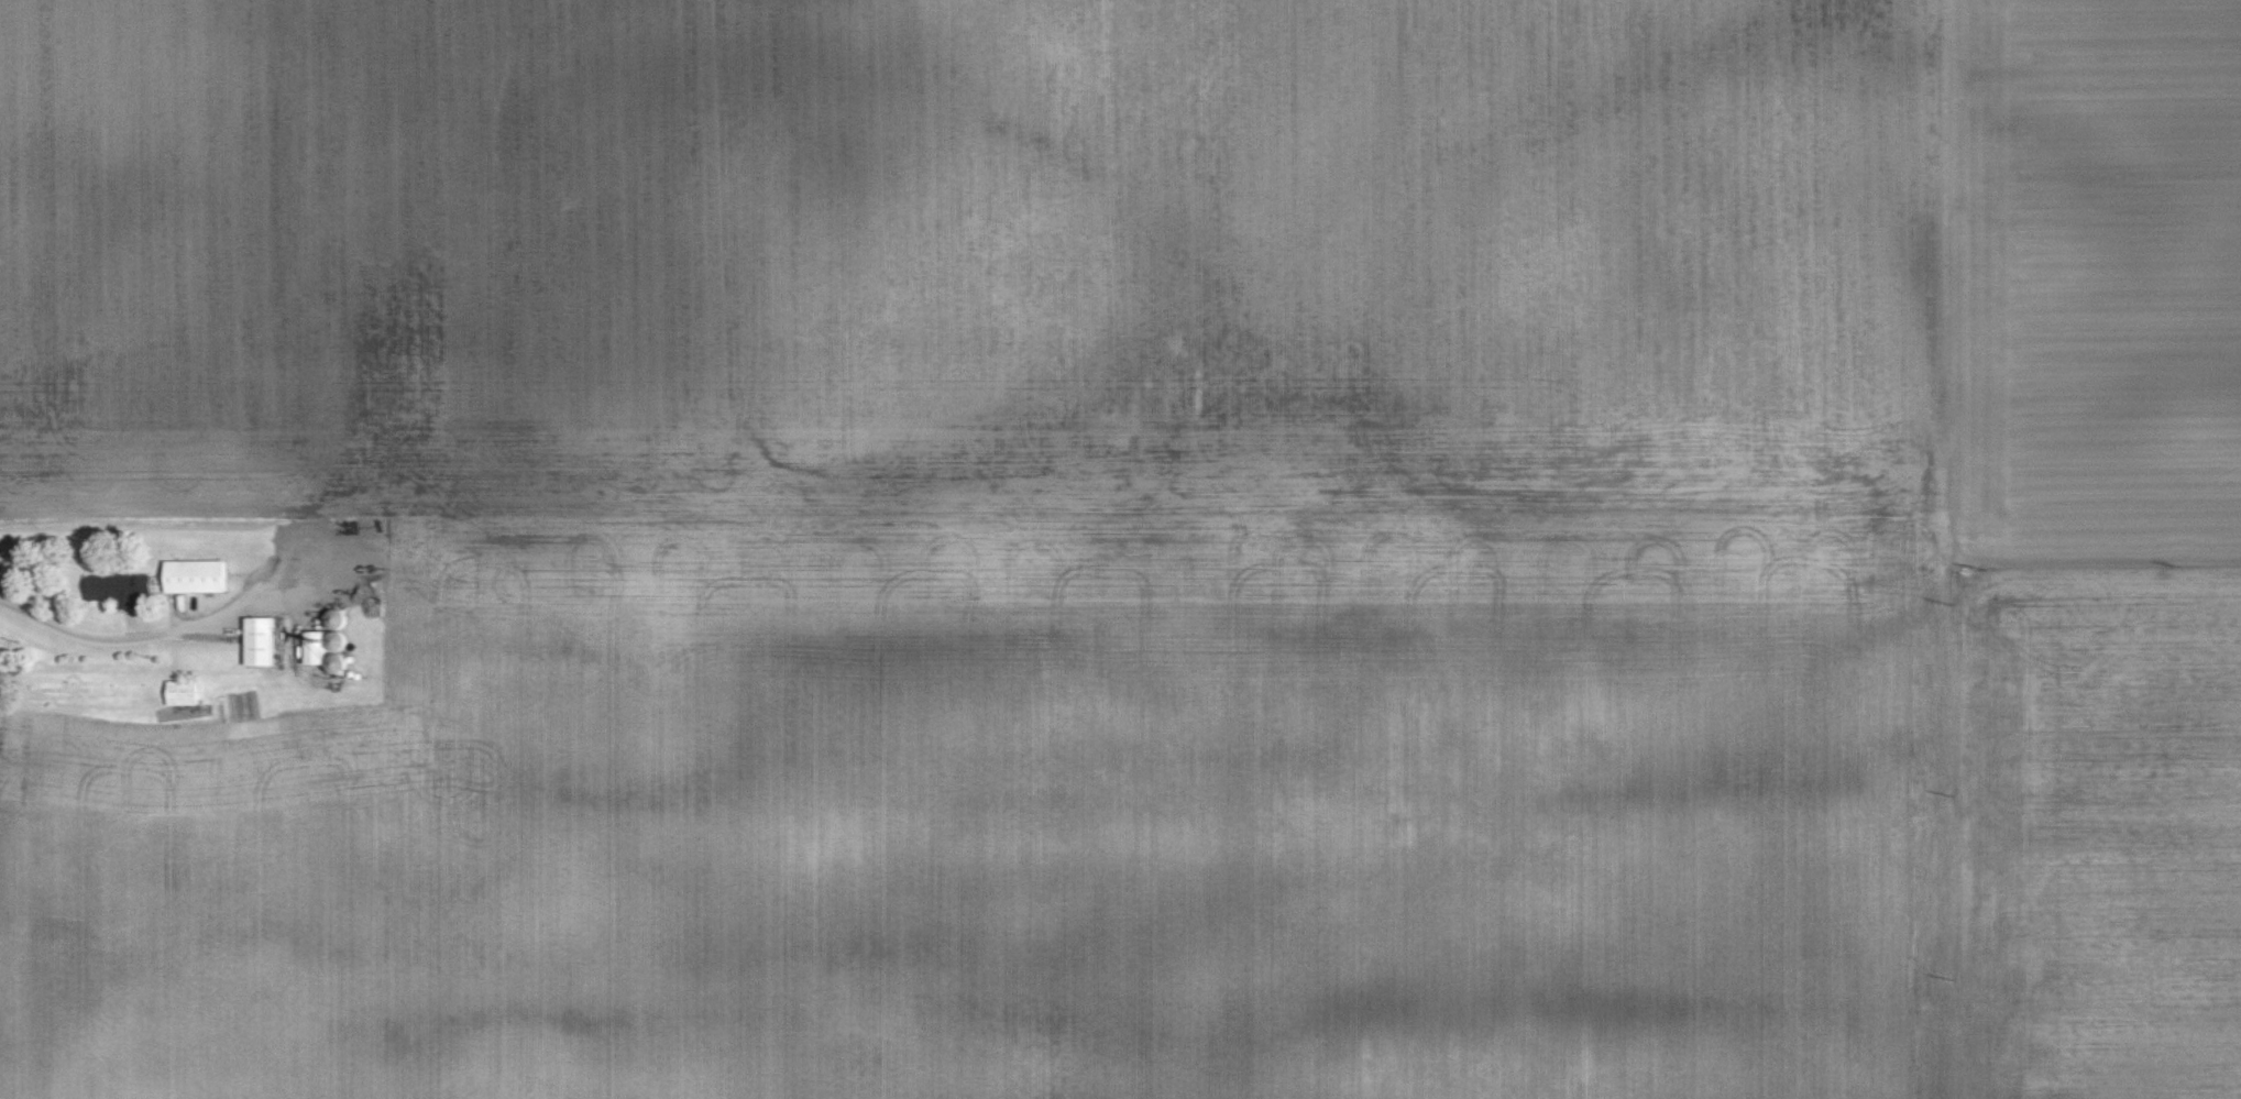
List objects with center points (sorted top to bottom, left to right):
building: (194, 575)
building: (117, 587)
road: (142, 638)
building: (257, 640)
building: (180, 692)

